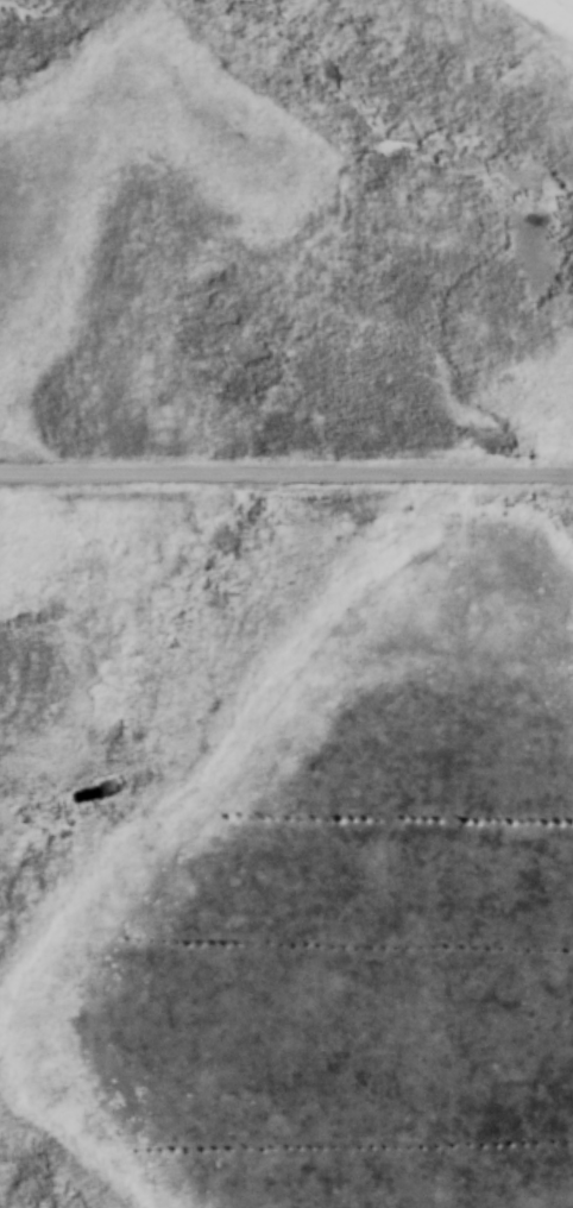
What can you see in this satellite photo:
river: (385, 131)
road: (286, 468)

